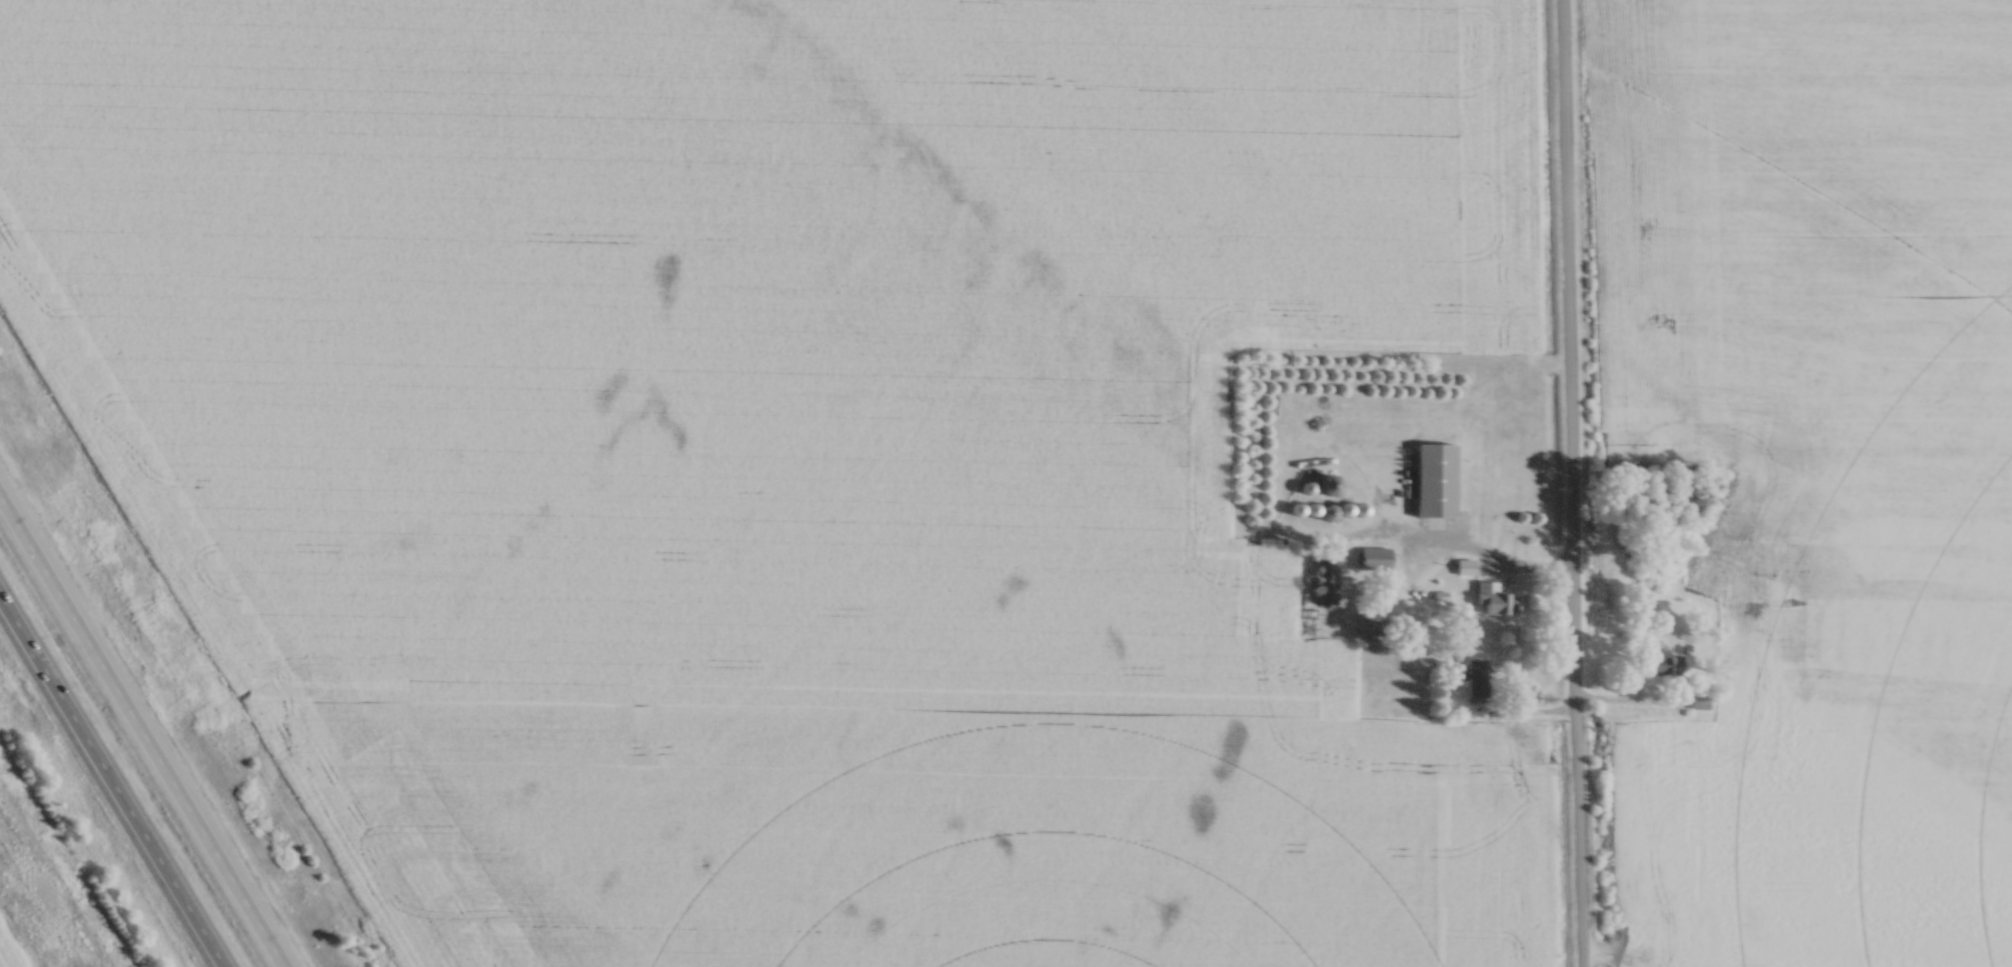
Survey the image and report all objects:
building: (1436, 478)
road: (1569, 483)
building: (1329, 484)
building: (1323, 510)
building: (1375, 557)
road: (1489, 559)
building: (1327, 597)
building: (1494, 598)
building: (1373, 619)
building: (1664, 664)
building: (1478, 676)
road: (1632, 700)
road: (141, 731)
road: (110, 783)

